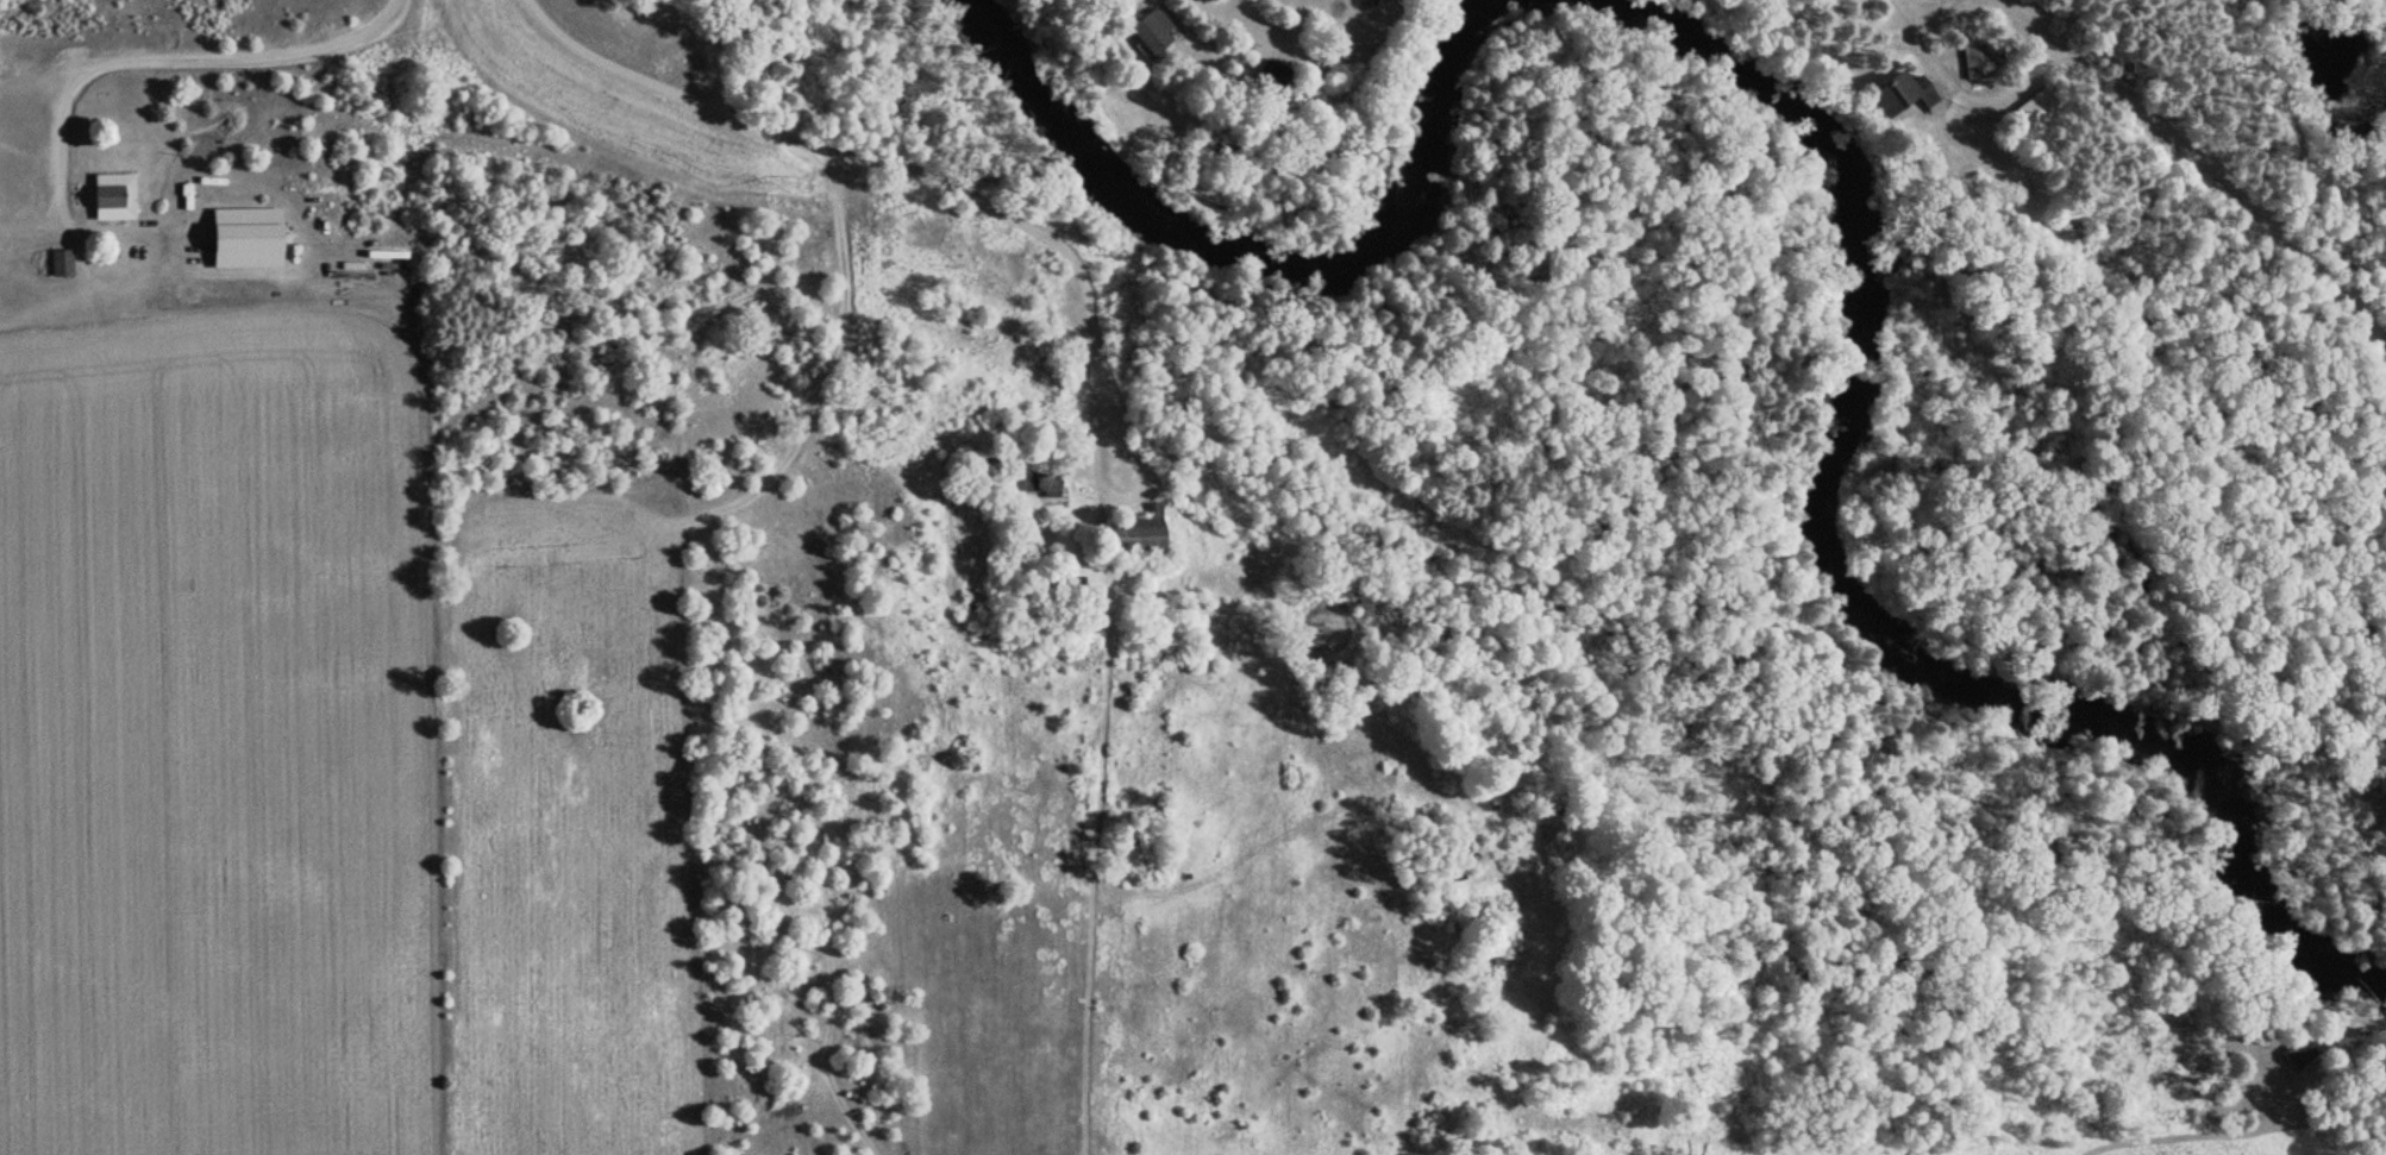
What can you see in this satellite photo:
building: (1148, 32)
building: (1974, 61)
building: (1899, 94)
building: (2034, 109)
road: (838, 151)
building: (106, 196)
river: (1252, 259)
building: (58, 262)
building: (1039, 483)
road: (1126, 492)
building: (1134, 536)
river: (1841, 589)
crop: (214, 741)
crop: (566, 835)
building: (2294, 1052)

